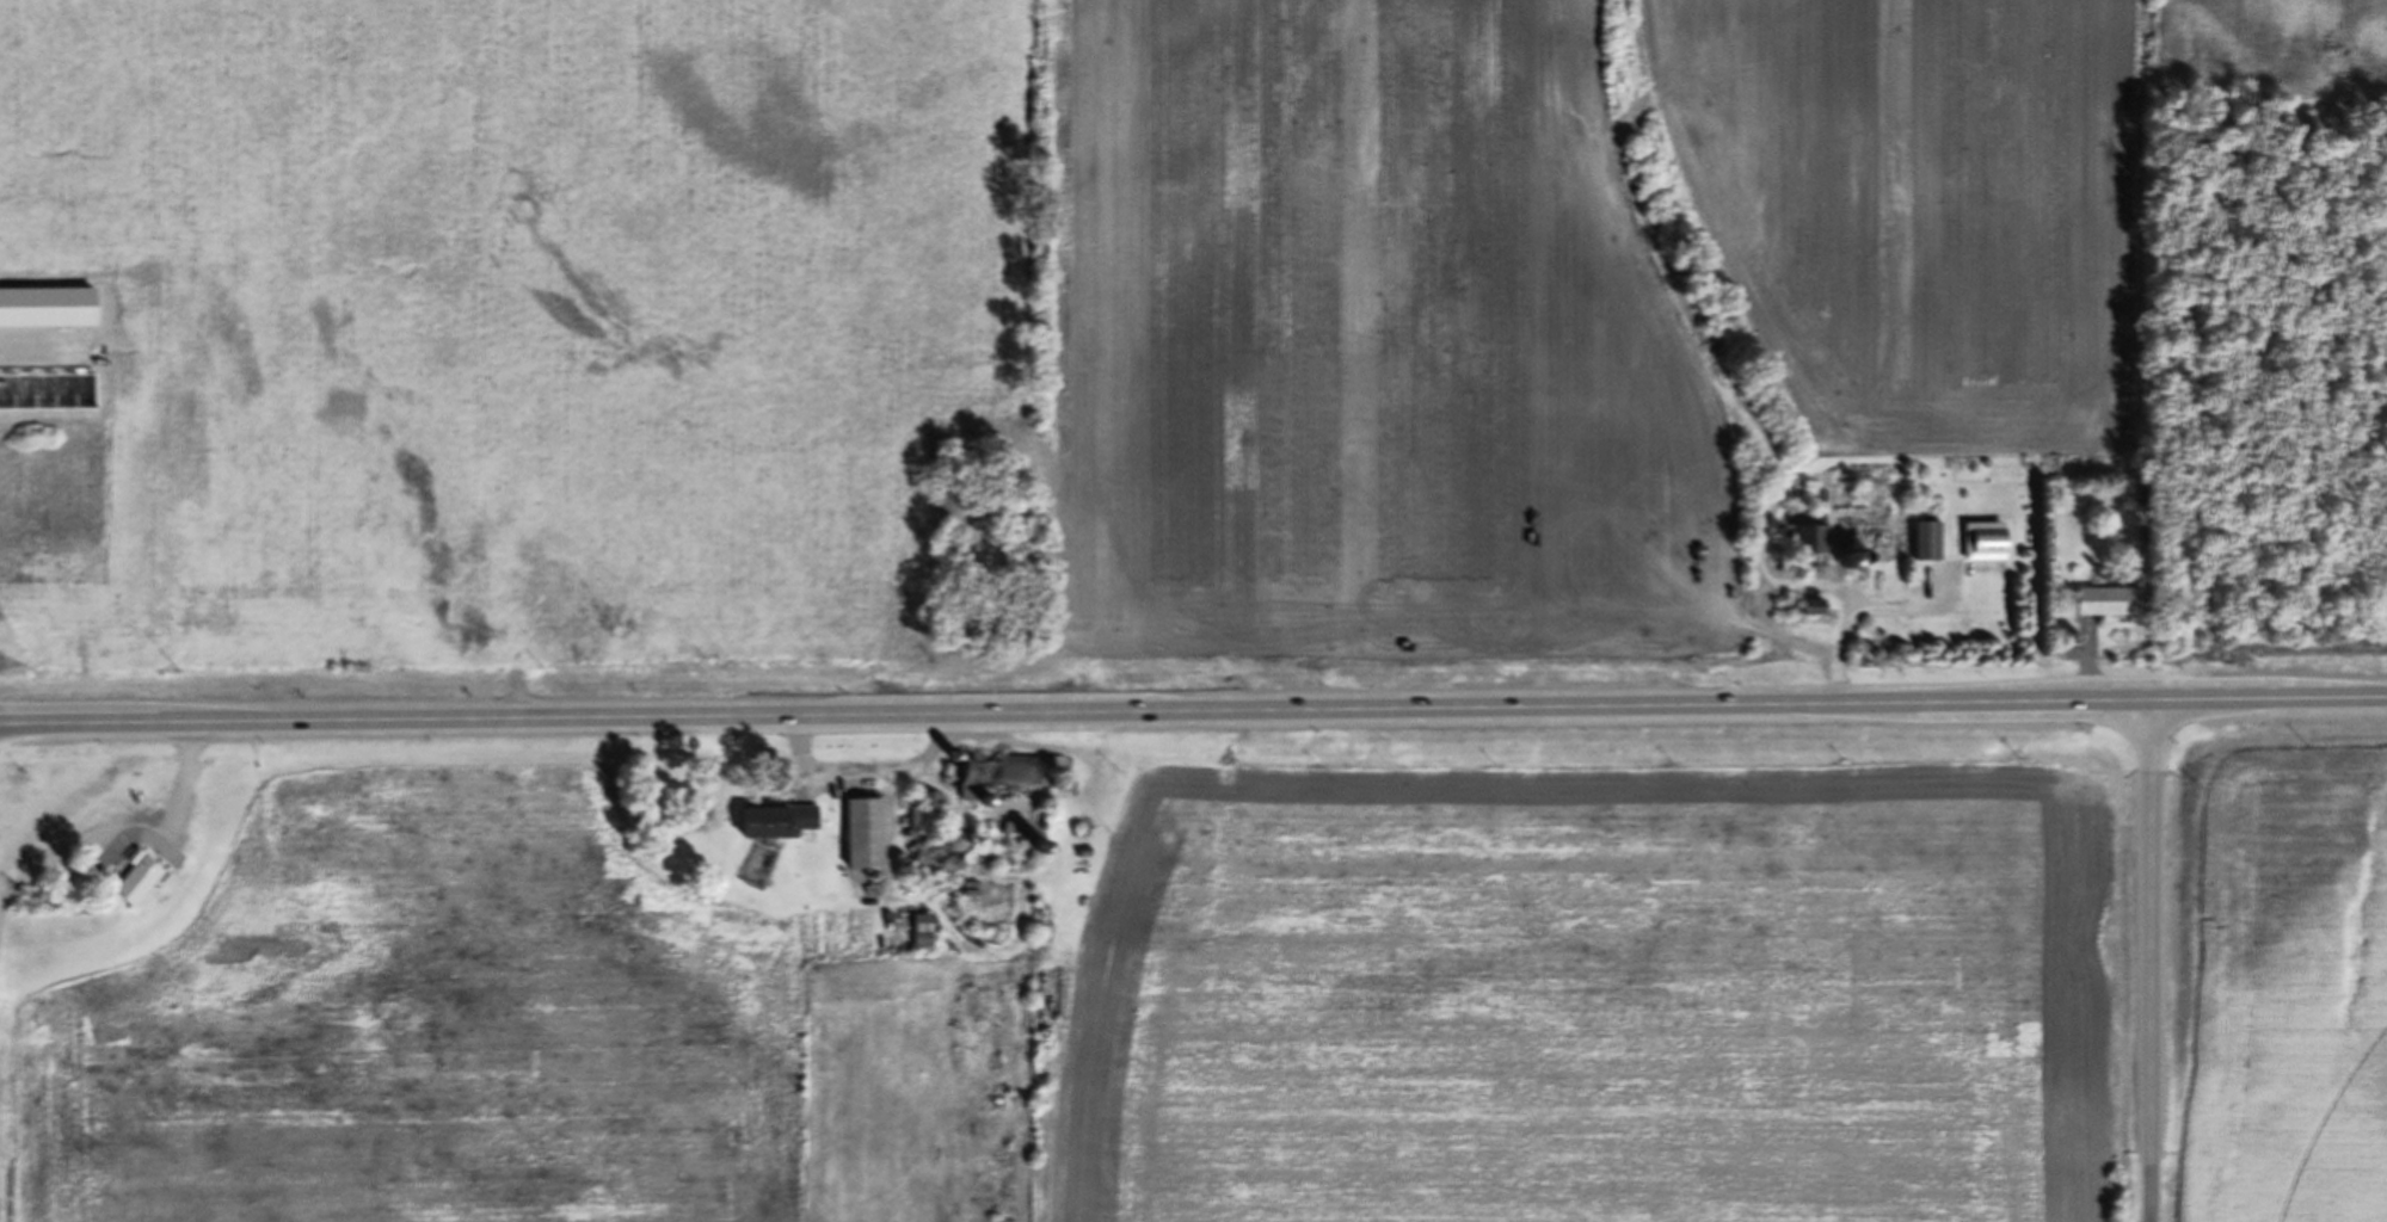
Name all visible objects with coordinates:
crop: (1078, 304)
building: (1924, 549)
building: (1982, 550)
building: (1800, 558)
building: (82, 586)
building: (2105, 610)
road: (1193, 715)
building: (1005, 780)
building: (923, 823)
building: (777, 831)
building: (862, 843)
building: (936, 865)
building: (133, 884)
building: (919, 940)
road: (2152, 965)

